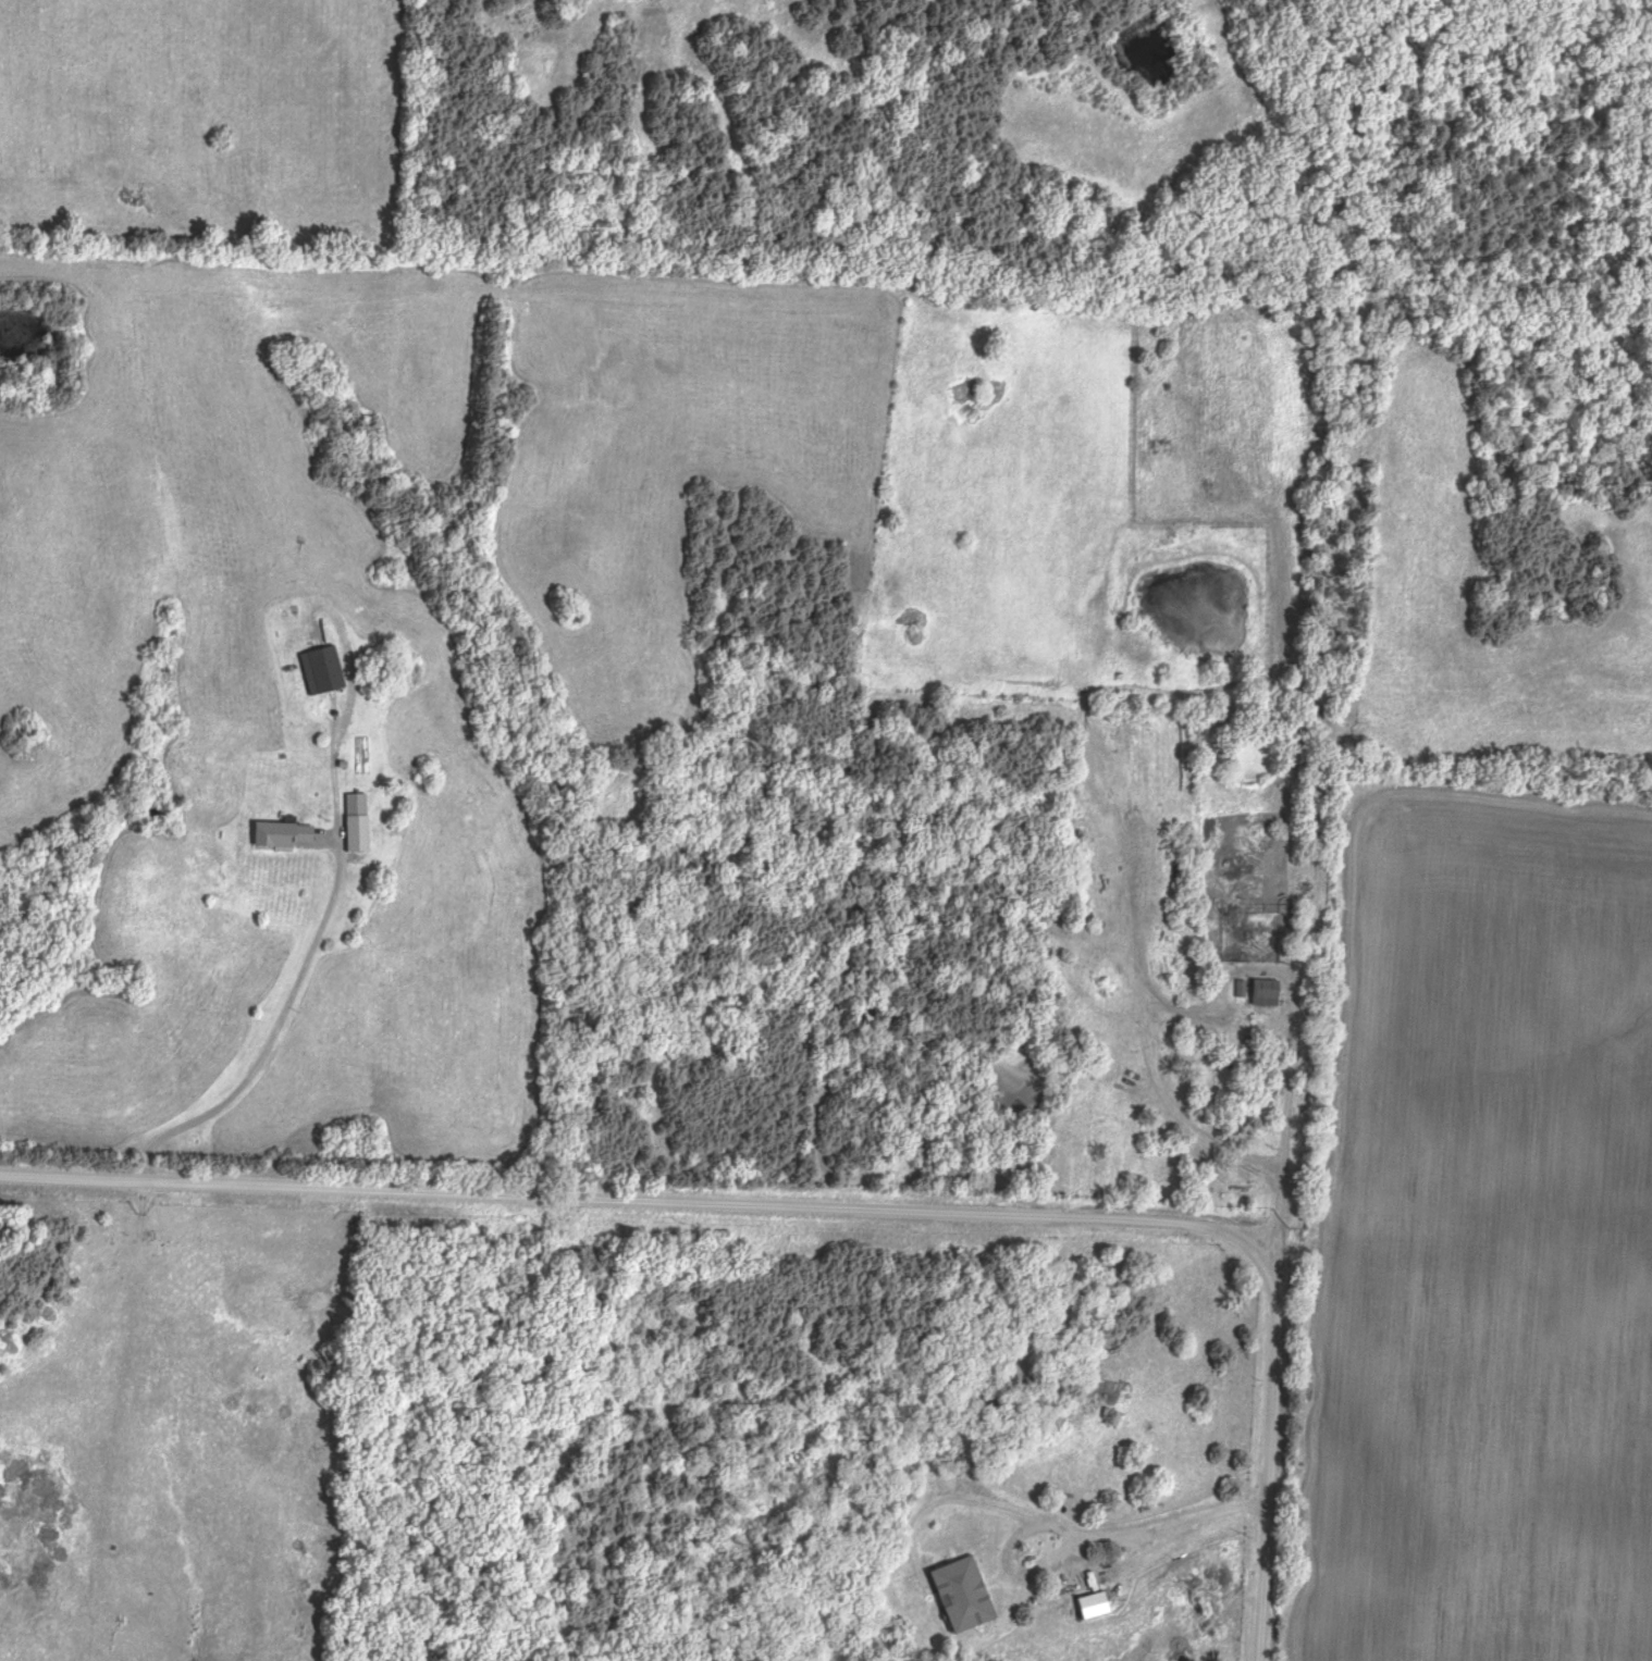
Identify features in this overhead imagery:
building: (323, 671)
road: (1516, 792)
building: (357, 805)
building: (284, 836)
building: (1267, 994)
road: (1292, 1019)
road: (268, 1040)
road: (1205, 1096)
road: (638, 1201)
road: (1272, 1460)
road: (1138, 1533)
building: (964, 1595)

